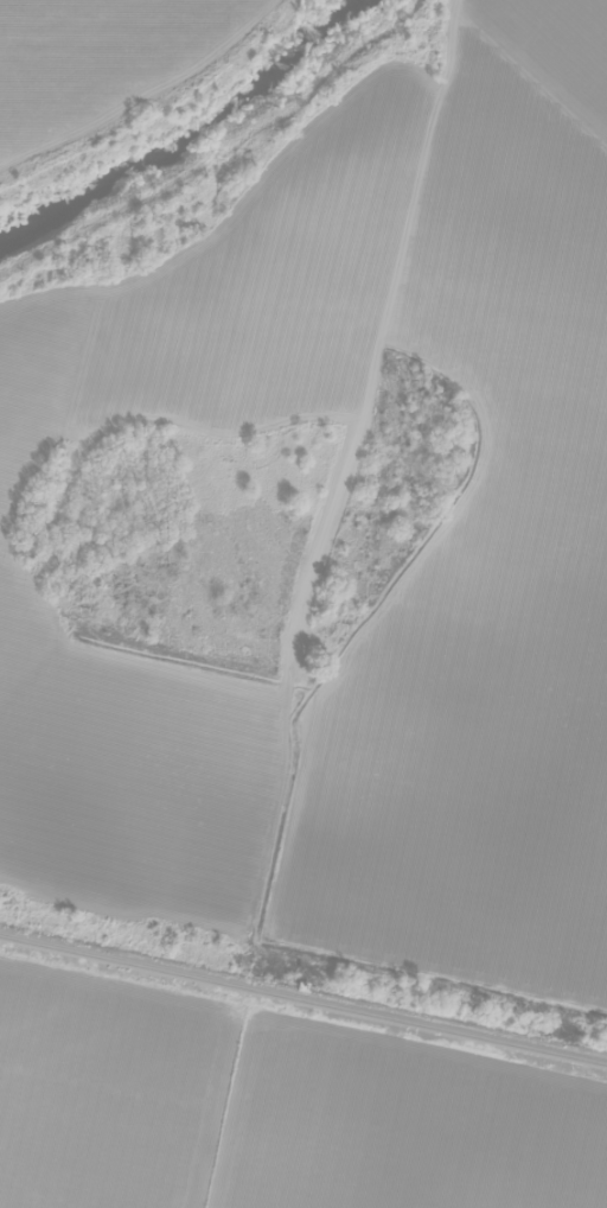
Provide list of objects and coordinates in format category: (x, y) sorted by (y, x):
railway: (302, 999)

